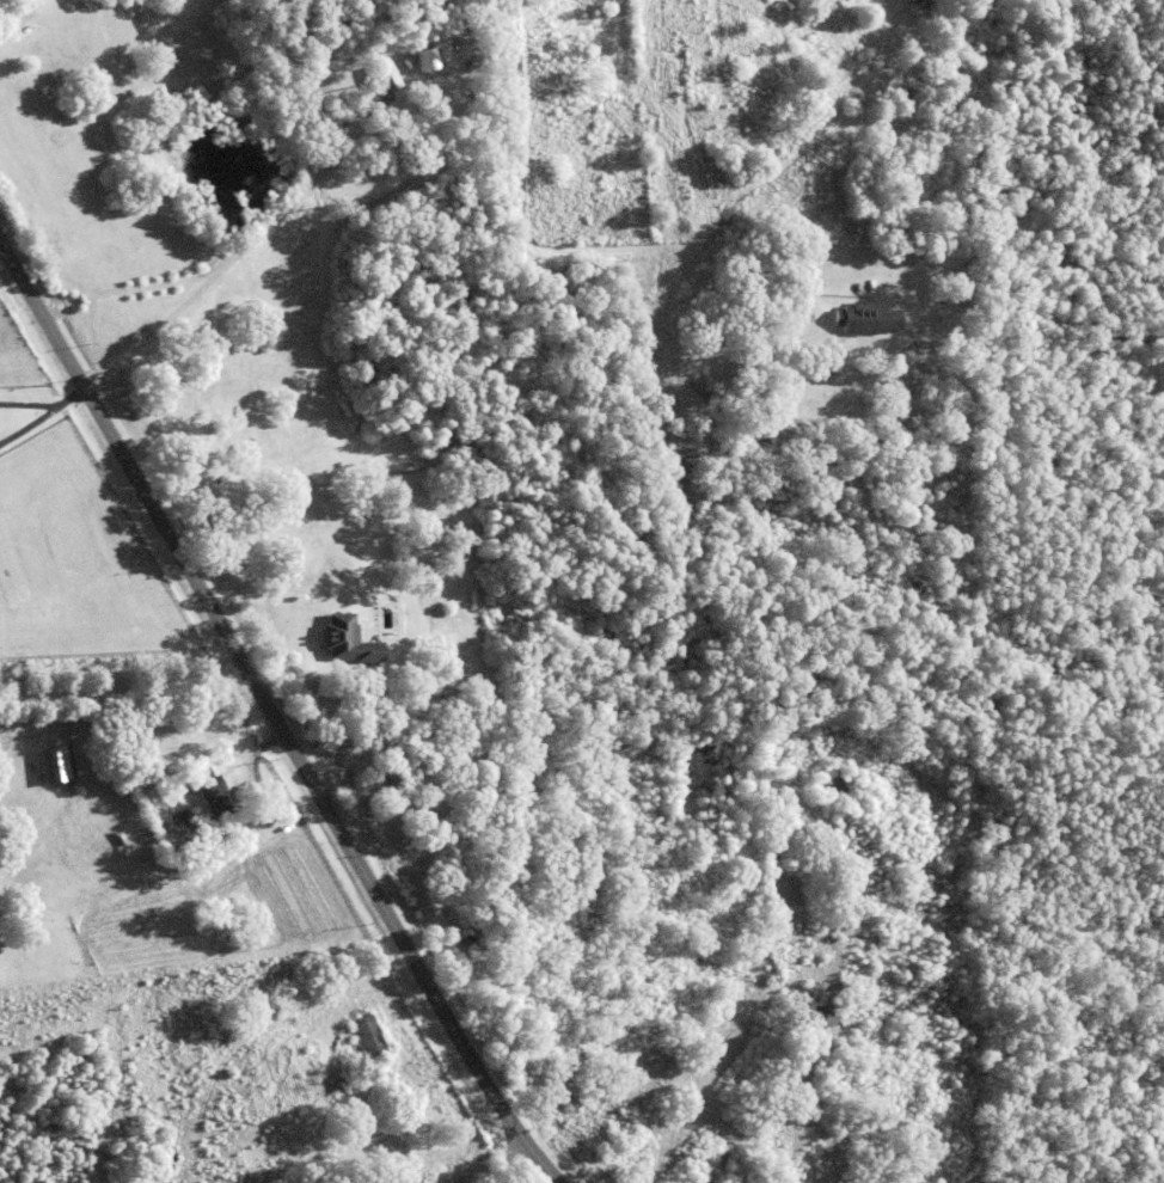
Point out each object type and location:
building: (11, 4)
building: (384, 76)
building: (409, 82)
building: (733, 311)
building: (869, 318)
building: (342, 391)
building: (348, 642)
building: (311, 650)
road: (274, 717)
building: (194, 755)
building: (51, 764)
building: (392, 770)
building: (833, 785)
building: (212, 791)
building: (183, 825)
building: (453, 858)
building: (590, 885)
building: (473, 931)
building: (359, 1010)
building: (825, 1015)
building: (369, 1035)

